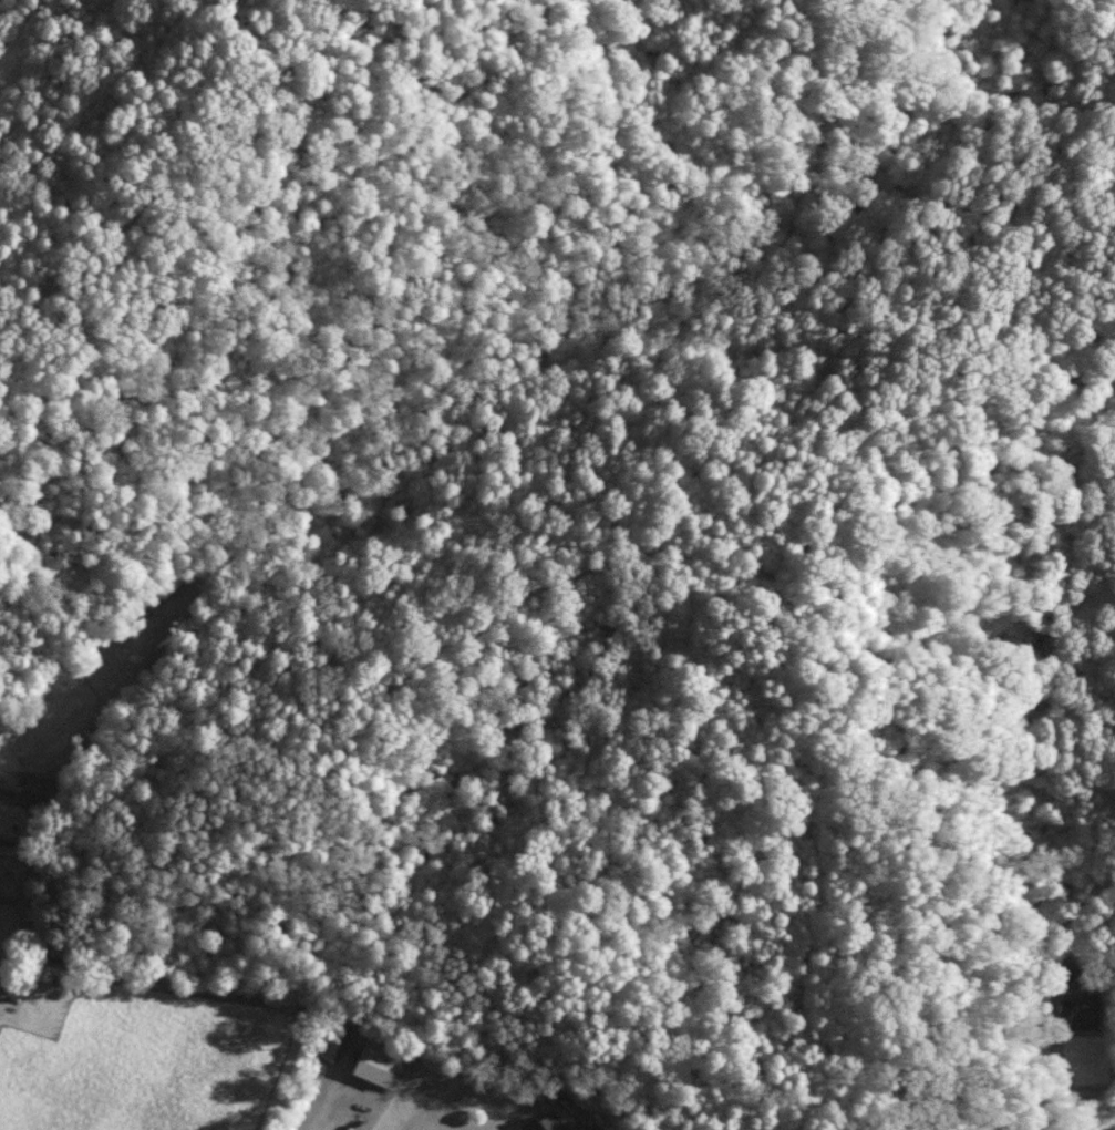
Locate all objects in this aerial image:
building: (35, 787)
road: (18, 905)
building: (365, 1062)
road: (314, 1103)
road: (1101, 1120)

